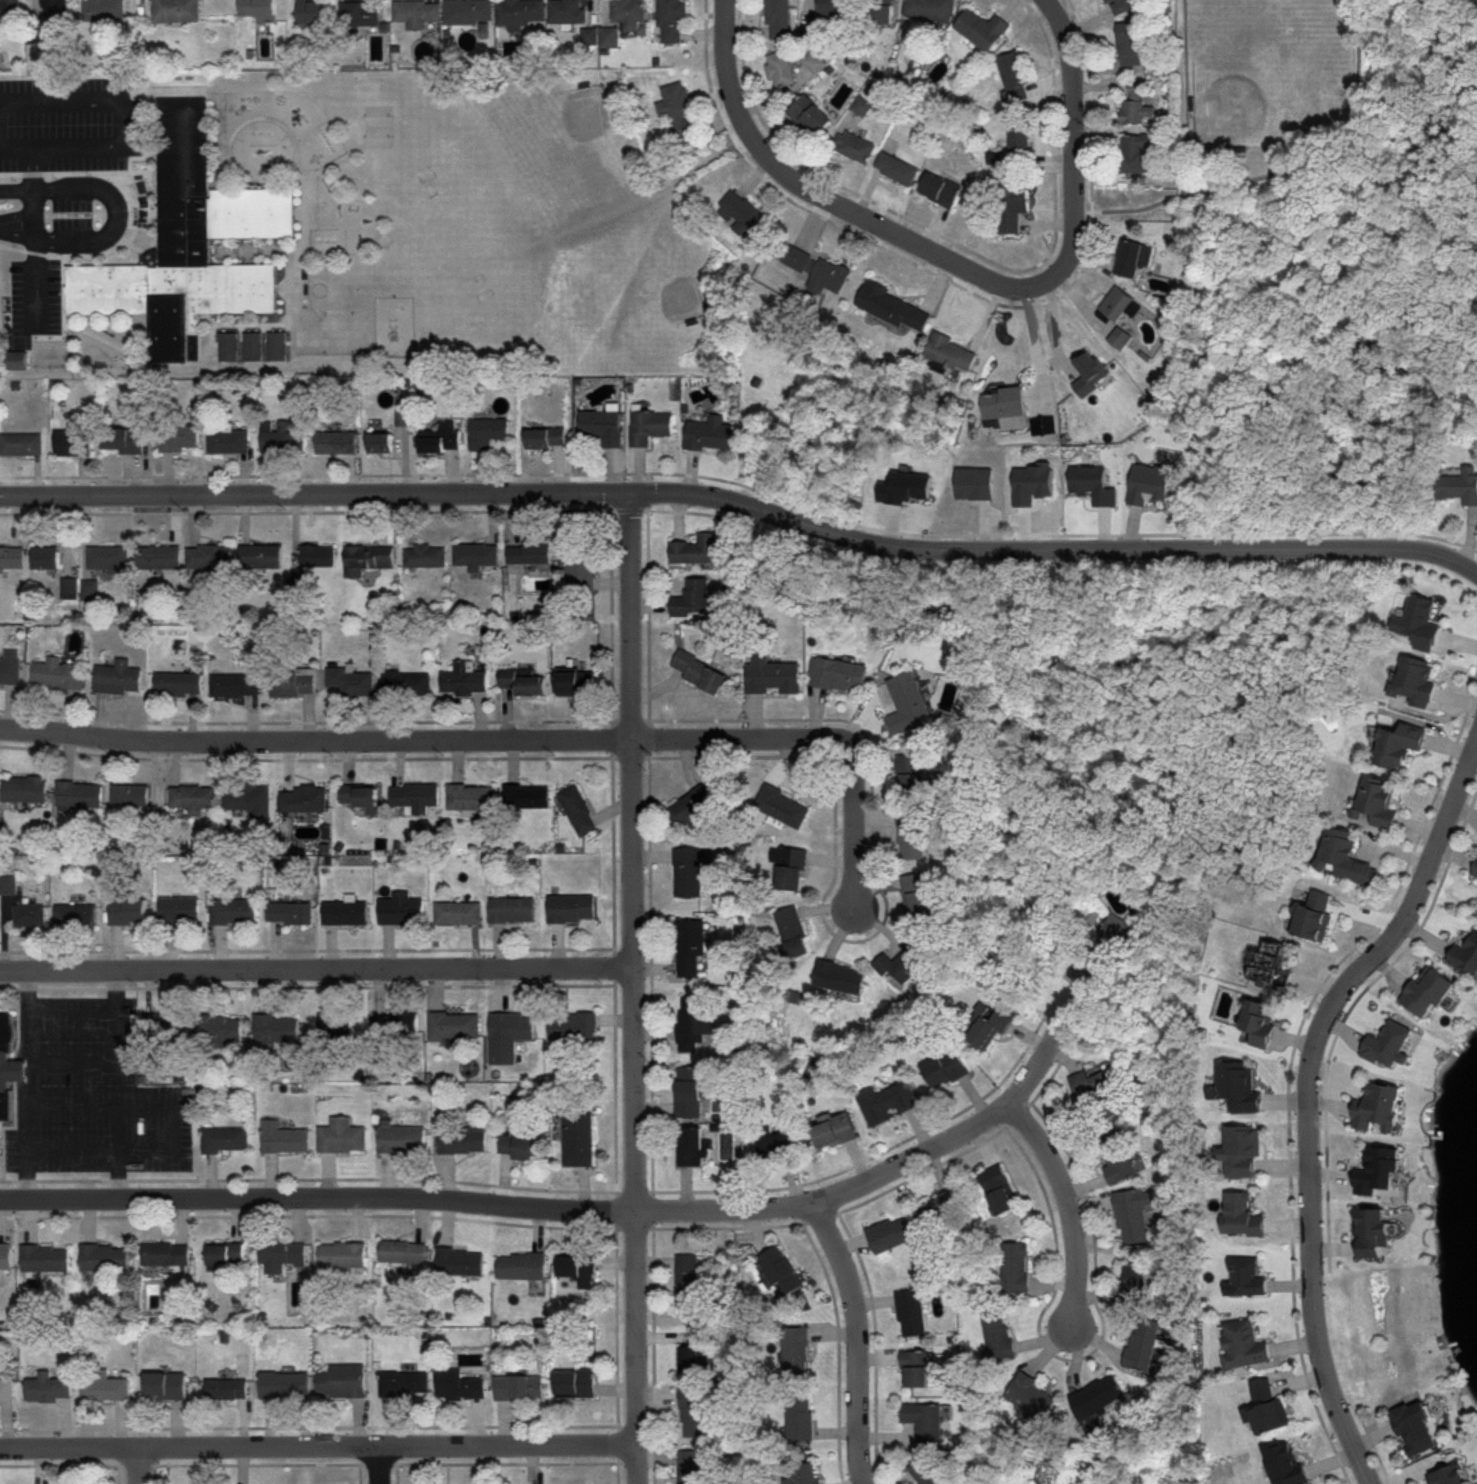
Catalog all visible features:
building: (1121, 6)
building: (834, 8)
building: (932, 9)
building: (103, 10)
building: (176, 11)
building: (313, 11)
building: (567, 11)
building: (260, 12)
building: (469, 12)
building: (629, 12)
building: (879, 12)
building: (59, 13)
building: (417, 13)
building: (521, 13)
building: (10, 14)
building: (362, 15)
building: (780, 19)
building: (672, 20)
building: (984, 28)
building: (609, 37)
building: (590, 38)
building: (1131, 43)
building: (816, 61)
building: (781, 68)
park: (1271, 70)
building: (1016, 76)
road: (1188, 99)
building: (1141, 102)
building: (864, 105)
road: (122, 107)
building: (678, 111)
building: (812, 115)
park: (378, 125)
park: (567, 132)
building: (1021, 138)
building: (857, 146)
road: (1075, 146)
road: (16, 152)
building: (1139, 153)
building: (899, 168)
road: (1290, 169)
road: (33, 171)
building: (943, 189)
road: (824, 196)
building: (1014, 208)
building: (744, 214)
road: (118, 216)
park: (450, 244)
building: (190, 245)
road: (561, 255)
building: (1135, 257)
building: (817, 269)
park: (647, 278)
building: (1119, 303)
building: (896, 307)
park: (332, 333)
building: (1122, 338)
road: (1030, 344)
building: (228, 346)
building: (253, 346)
building: (278, 346)
building: (952, 352)
building: (16, 360)
building: (1006, 402)
building: (1098, 420)
building: (604, 425)
building: (651, 426)
building: (489, 432)
building: (711, 433)
building: (181, 437)
building: (547, 437)
building: (283, 438)
building: (442, 438)
building: (124, 440)
building: (229, 440)
building: (22, 441)
building: (337, 441)
building: (75, 443)
building: (381, 443)
building: (1093, 481)
building: (1150, 482)
building: (1460, 486)
road: (744, 503)
building: (697, 548)
building: (532, 551)
building: (427, 554)
building: (477, 554)
building: (161, 555)
building: (262, 555)
building: (320, 555)
building: (371, 555)
building: (12, 556)
building: (46, 556)
building: (209, 556)
building: (109, 558)
building: (582, 568)
building: (70, 587)
building: (693, 598)
building: (1417, 621)
building: (11, 666)
building: (701, 671)
building: (59, 673)
building: (839, 673)
building: (774, 675)
building: (119, 677)
building: (465, 679)
building: (353, 680)
building: (1415, 680)
building: (525, 681)
building: (577, 681)
building: (294, 682)
building: (179, 683)
building: (407, 683)
building: (236, 684)
building: (908, 702)
road: (423, 739)
building: (1400, 744)
building: (913, 775)
building: (26, 788)
building: (469, 793)
building: (81, 794)
building: (131, 794)
building: (360, 794)
building: (417, 796)
building: (528, 796)
building: (194, 798)
building: (305, 798)
building: (249, 799)
building: (1378, 801)
building: (780, 803)
building: (693, 805)
building: (577, 806)
road: (858, 820)
building: (913, 835)
building: (1347, 857)
building: (791, 866)
building: (688, 869)
building: (1476, 873)
building: (1476, 874)
building: (10, 883)
building: (920, 893)
building: (572, 905)
building: (512, 906)
building: (401, 908)
building: (130, 910)
building: (180, 910)
building: (235, 910)
building: (458, 910)
building: (291, 912)
building: (347, 912)
building: (77, 913)
building: (30, 914)
building: (1316, 915)
building: (793, 931)
building: (1114, 935)
building: (691, 947)
building: (1466, 957)
building: (906, 961)
building: (1273, 965)
road: (317, 967)
building: (841, 975)
road: (634, 988)
building: (1431, 989)
road: (26, 1014)
road: (71, 1016)
building: (338, 1021)
building: (396, 1021)
building: (1262, 1021)
building: (164, 1022)
building: (579, 1023)
building: (693, 1023)
building: (451, 1024)
building: (990, 1024)
building: (277, 1025)
building: (222, 1027)
building: (507, 1036)
building: (1387, 1039)
road: (68, 1061)
building: (9, 1065)
building: (947, 1068)
road: (20, 1071)
road: (33, 1078)
road: (117, 1082)
road: (1311, 1084)
building: (1240, 1085)
parking lot: (92, 1090)
building: (1101, 1091)
building: (690, 1092)
building: (888, 1102)
building: (1382, 1112)
road: (173, 1129)
building: (836, 1129)
building: (340, 1133)
building: (283, 1136)
building: (224, 1137)
building: (401, 1137)
building: (576, 1138)
road: (24, 1139)
building: (461, 1139)
building: (519, 1145)
building: (691, 1146)
building: (779, 1146)
building: (1240, 1148)
building: (1117, 1156)
building: (1379, 1176)
building: (1001, 1189)
road: (1073, 1206)
road: (564, 1207)
building: (944, 1210)
building: (1243, 1214)
building: (1134, 1215)
building: (888, 1232)
building: (1373, 1236)
building: (392, 1249)
building: (164, 1252)
building: (218, 1252)
building: (340, 1253)
building: (5, 1254)
building: (280, 1254)
building: (103, 1256)
building: (44, 1257)
building: (467, 1262)
building: (575, 1264)
building: (521, 1265)
building: (1016, 1266)
building: (780, 1270)
building: (686, 1277)
building: (1247, 1277)
building: (1137, 1284)
building: (912, 1309)
building: (998, 1333)
road: (861, 1338)
building: (1145, 1343)
building: (1244, 1343)
building: (797, 1351)
building: (692, 1353)
building: (920, 1368)
building: (340, 1380)
building: (455, 1382)
building: (573, 1382)
building: (402, 1383)
building: (164, 1384)
building: (283, 1384)
building: (46, 1385)
building: (103, 1385)
building: (7, 1386)
building: (231, 1386)
building: (517, 1386)
building: (1032, 1394)
building: (1098, 1395)
building: (1268, 1407)
building: (694, 1409)
building: (800, 1417)
building: (926, 1420)
building: (1413, 1425)
road: (317, 1446)
building: (689, 1464)
road: (378, 1465)
road: (136, 1466)
building: (1286, 1466)
building: (931, 1470)
building: (1449, 1472)
building: (805, 1474)
building: (431, 1483)

